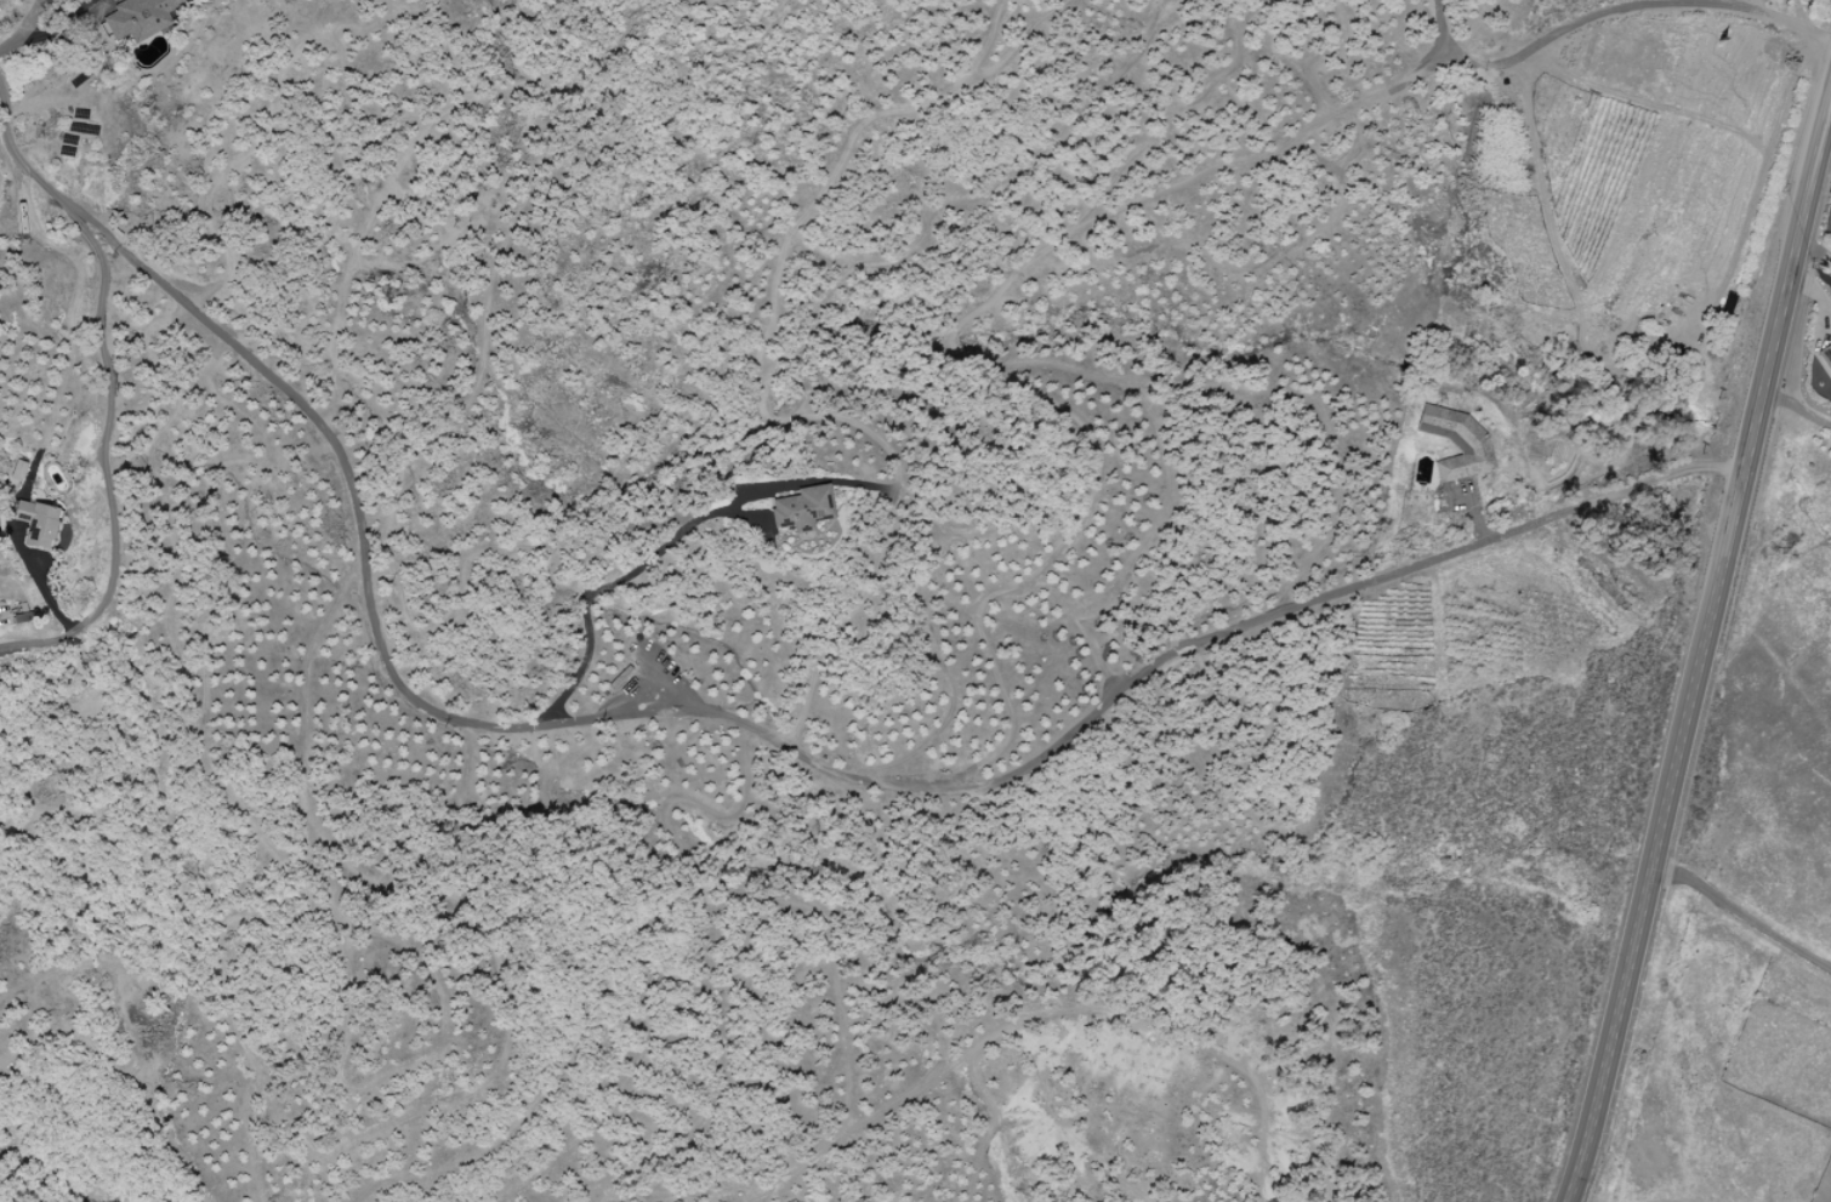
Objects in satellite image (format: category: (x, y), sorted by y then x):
road: (1613, 7)
road: (1793, 11)
building: (138, 18)
road: (24, 25)
road: (57, 27)
road: (1827, 133)
road: (1815, 252)
building: (1825, 355)
road: (1796, 410)
building: (1455, 443)
road: (102, 460)
building: (15, 477)
building: (801, 508)
road: (1477, 512)
building: (35, 523)
road: (635, 571)
road: (39, 577)
road: (1699, 654)
road: (732, 718)
road: (1739, 913)

